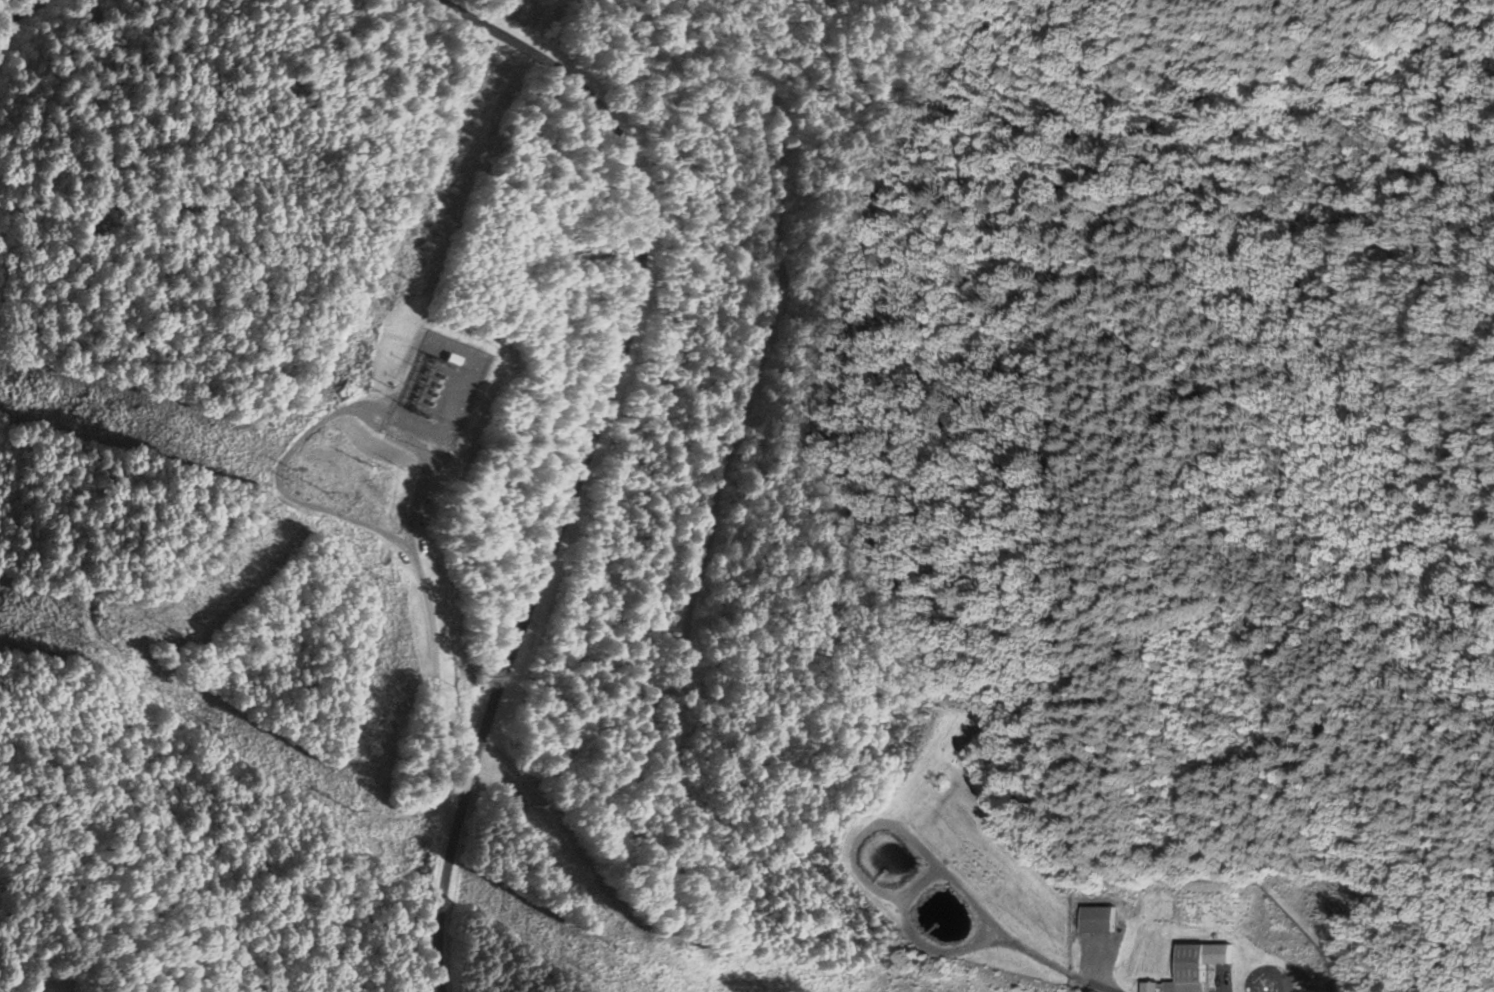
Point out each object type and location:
road: (10, 15)
power substation: (439, 389)
road: (587, 464)
road: (696, 467)
power tower: (95, 643)
power tower: (352, 813)
building: (1094, 919)
building: (1182, 972)
power tower: (605, 976)

